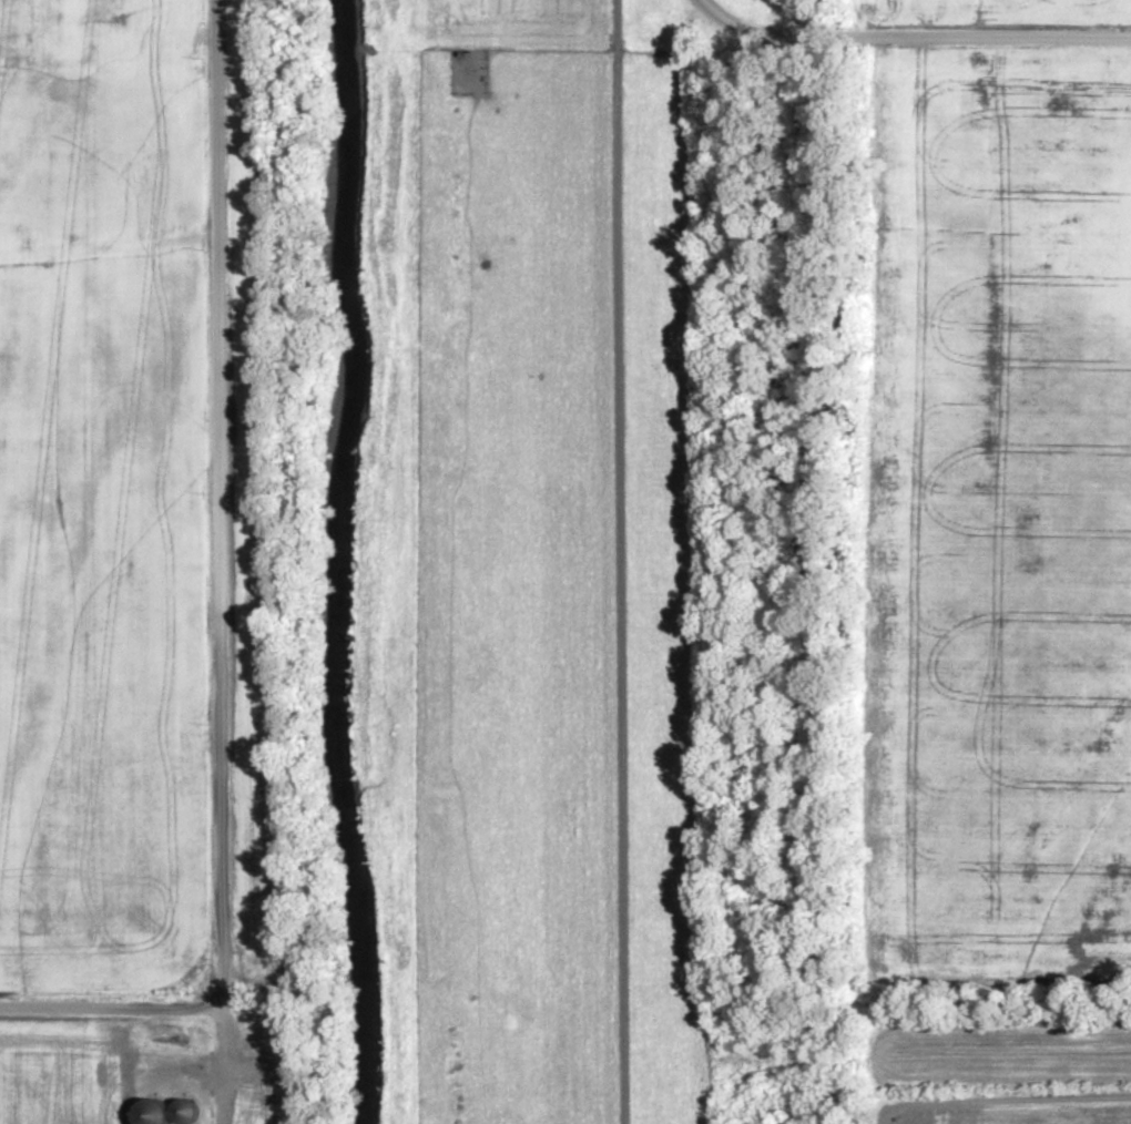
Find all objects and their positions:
road: (913, 35)
road: (110, 243)
road: (221, 504)
road: (622, 562)
road: (110, 1010)
road: (220, 1066)
road: (1001, 1102)

